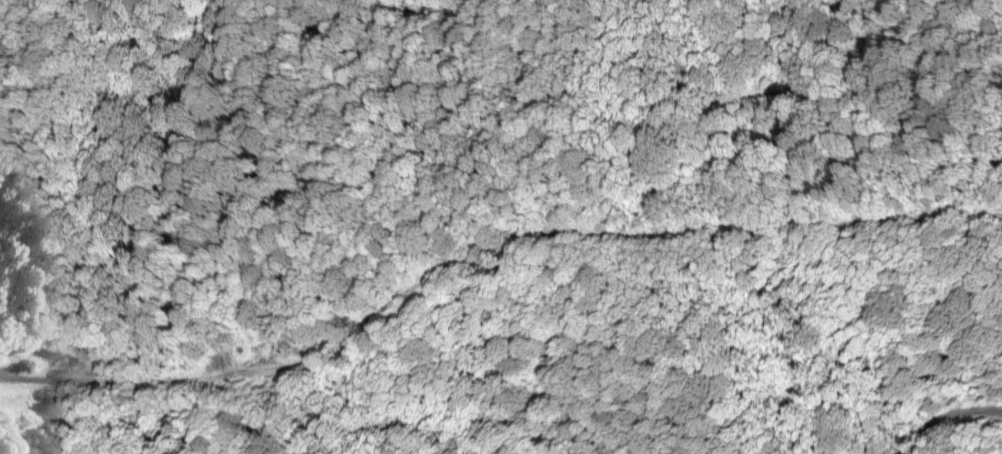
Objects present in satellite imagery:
road: (486, 247)
road: (946, 415)

